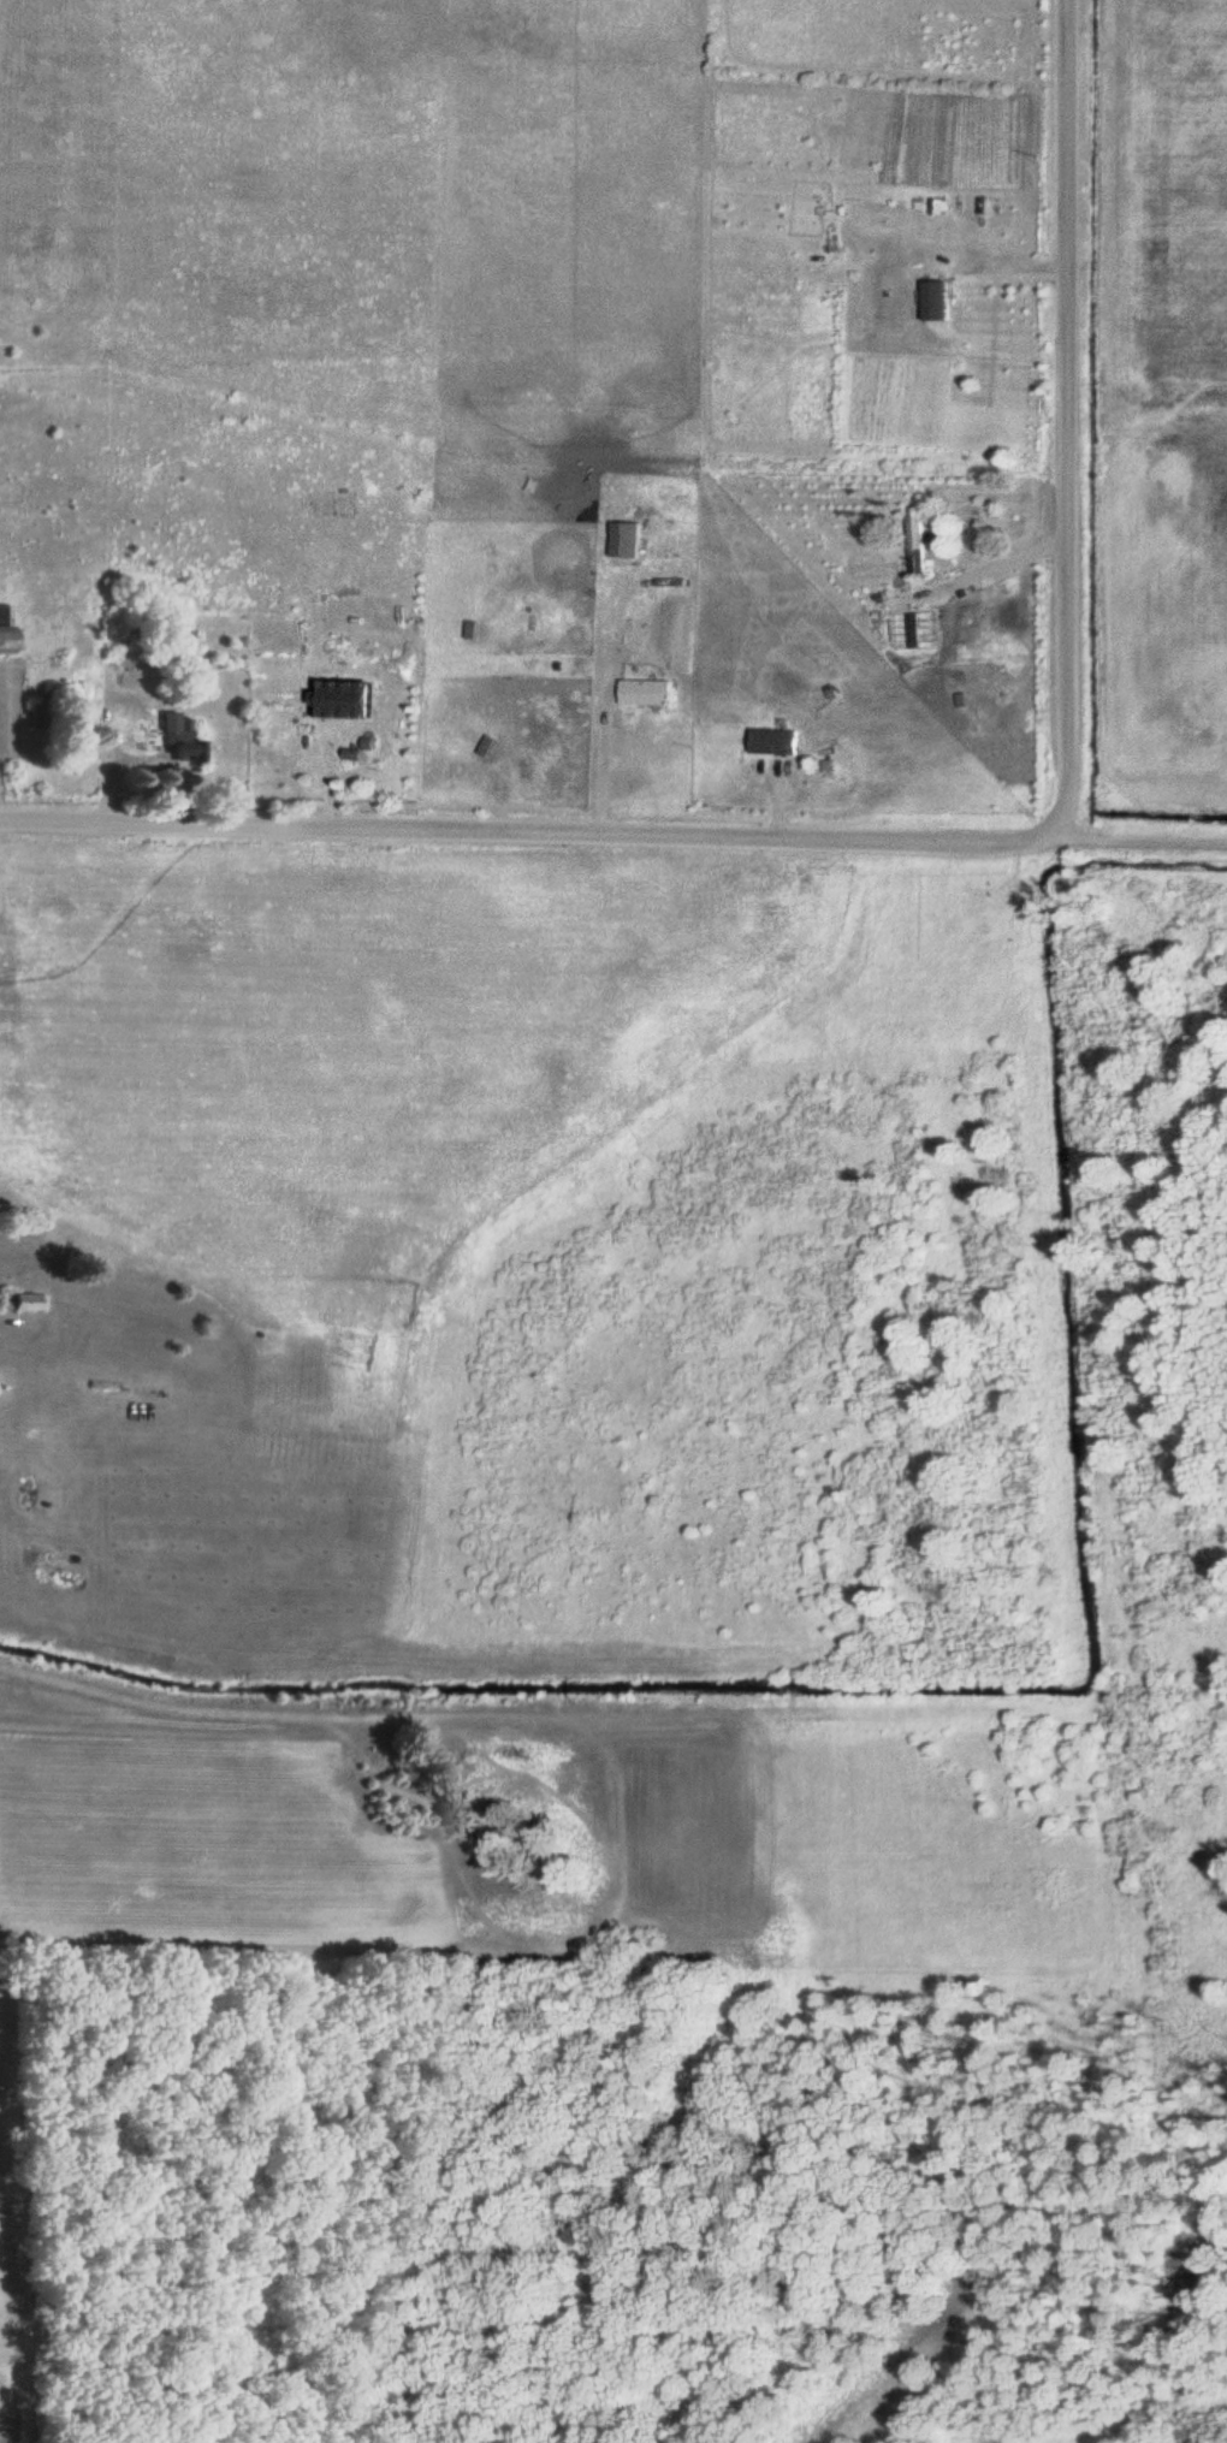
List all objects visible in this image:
building: (932, 301)
road: (1069, 417)
building: (915, 544)
building: (926, 618)
building: (5, 628)
building: (645, 690)
building: (340, 699)
building: (178, 737)
building: (772, 741)
road: (526, 834)
road: (1139, 836)
building: (28, 1301)

